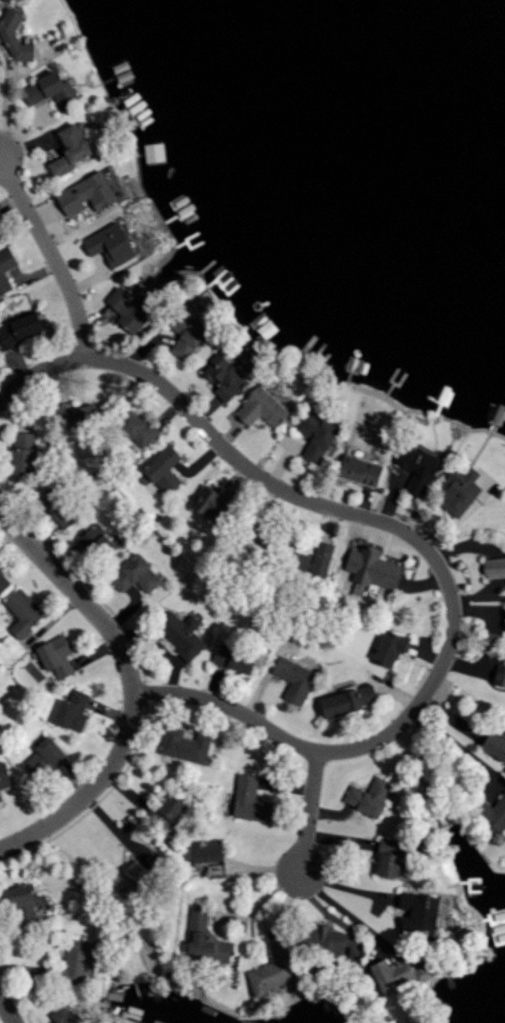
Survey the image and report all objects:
building: (14, 36)
building: (50, 90)
building: (69, 150)
building: (154, 151)
building: (87, 194)
building: (0, 239)
building: (111, 244)
road: (51, 256)
building: (6, 268)
building: (131, 307)
building: (20, 329)
building: (186, 334)
building: (225, 376)
building: (261, 407)
building: (76, 414)
building: (138, 427)
building: (316, 436)
building: (23, 453)
building: (418, 468)
building: (164, 470)
building: (360, 470)
building: (457, 490)
building: (208, 501)
building: (58, 506)
building: (97, 541)
road: (422, 545)
building: (315, 559)
building: (373, 567)
building: (494, 567)
building: (137, 573)
building: (4, 580)
building: (23, 611)
building: (181, 633)
building: (390, 647)
building: (56, 655)
building: (235, 658)
building: (500, 674)
building: (295, 678)
road: (131, 688)
building: (348, 699)
building: (72, 710)
building: (185, 744)
road: (457, 744)
building: (495, 744)
building: (43, 758)
building: (4, 775)
building: (371, 796)
building: (0, 798)
building: (250, 799)
building: (167, 810)
building: (491, 812)
road: (310, 813)
building: (208, 850)
building: (389, 856)
building: (216, 868)
building: (134, 879)
building: (22, 905)
road: (345, 912)
building: (418, 914)
building: (325, 936)
building: (205, 938)
building: (77, 960)
building: (274, 971)
building: (392, 973)
road: (7, 1009)
building: (68, 1015)
building: (90, 1022)

